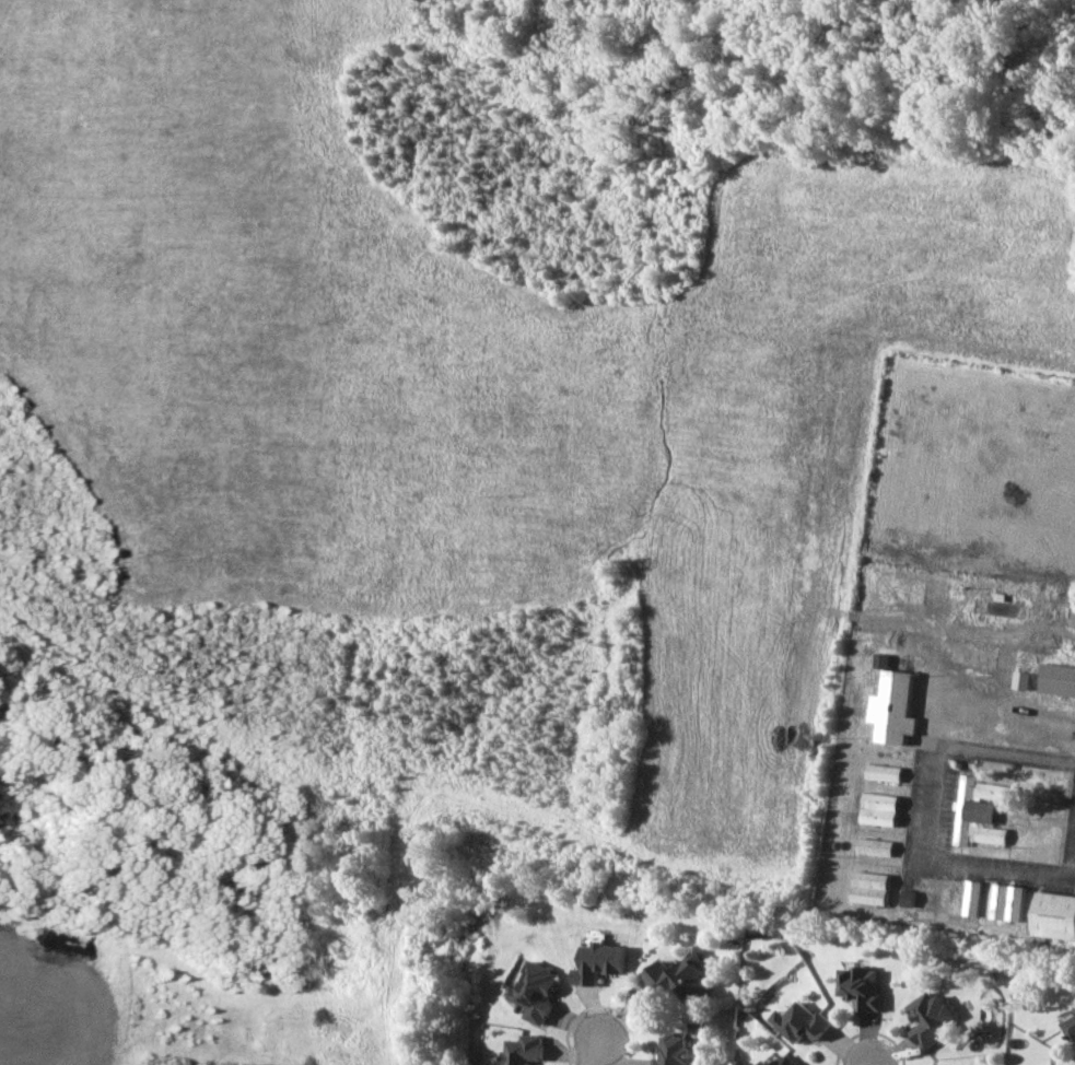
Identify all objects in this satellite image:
building: (883, 659)
building: (1058, 678)
building: (1020, 679)
building: (891, 706)
building: (880, 772)
building: (877, 808)
road: (922, 810)
building: (977, 810)
building: (873, 845)
building: (868, 886)
building: (970, 897)
building: (907, 898)
building: (1006, 901)
railway: (522, 914)
building: (1054, 914)
building: (599, 961)
building: (679, 978)
building: (863, 986)
building: (537, 990)
road: (576, 1014)
building: (932, 1017)
building: (803, 1021)
building: (1071, 1026)
road: (868, 1032)
building: (524, 1049)
road: (591, 1050)
building: (674, 1050)
building: (785, 1061)

